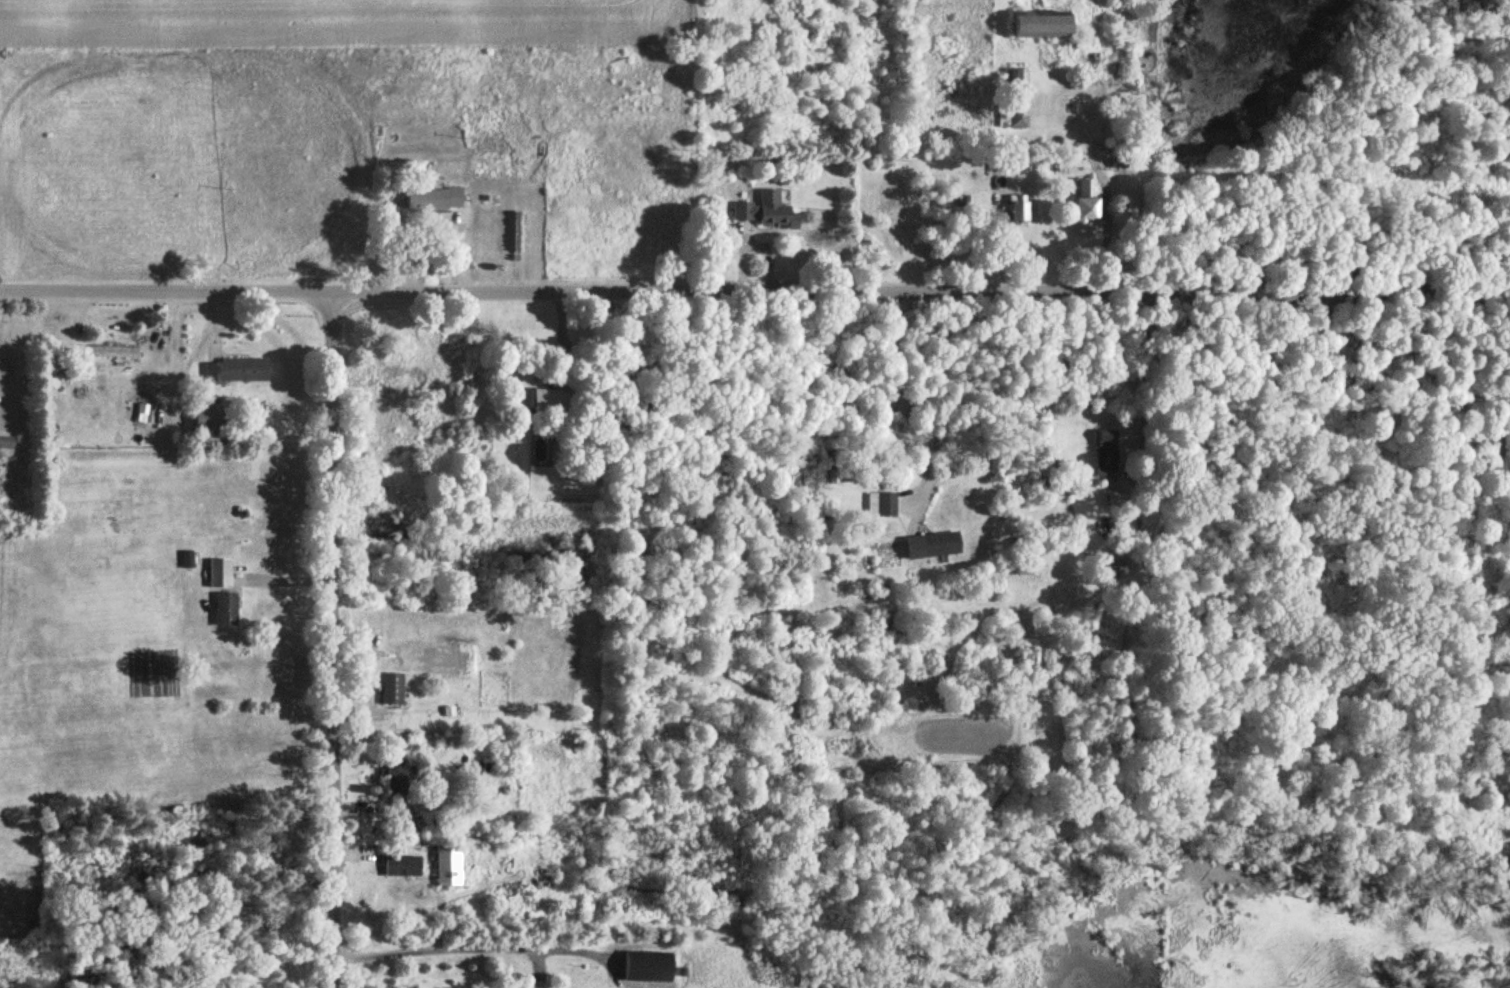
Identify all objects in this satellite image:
building: (1040, 26)
building: (1017, 99)
road: (985, 164)
building: (490, 165)
building: (445, 198)
building: (1085, 201)
building: (1018, 211)
building: (767, 212)
road: (754, 290)
building: (114, 352)
building: (236, 370)
building: (395, 377)
road: (898, 377)
building: (553, 402)
building: (208, 415)
building: (6, 449)
building: (1106, 453)
building: (1118, 503)
building: (881, 505)
building: (933, 545)
building: (219, 573)
park: (3, 595)
building: (225, 609)
road: (328, 639)
building: (392, 689)
building: (397, 777)
building: (416, 827)
building: (402, 866)
building: (448, 866)
road: (461, 945)
building: (648, 966)

